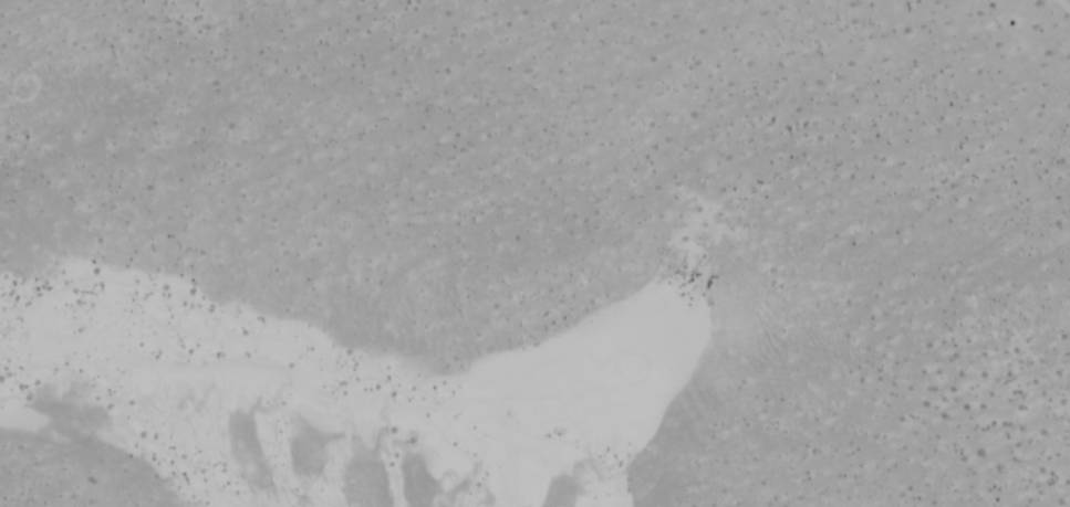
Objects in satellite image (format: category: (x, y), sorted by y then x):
road: (1056, 13)

